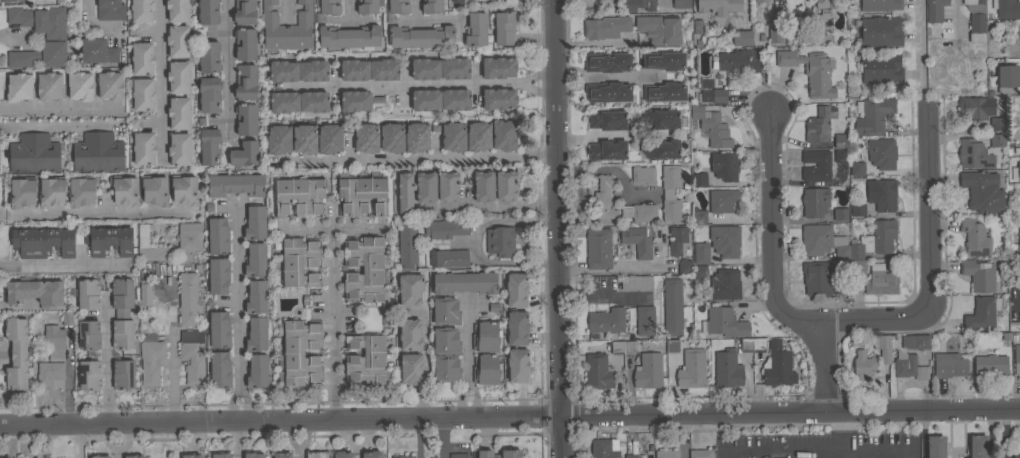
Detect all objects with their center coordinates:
building: (5, 0)
building: (457, 0)
building: (492, 0)
building: (761, 1)
building: (973, 1)
building: (510, 3)
building: (822, 3)
building: (680, 4)
building: (638, 5)
building: (880, 5)
building: (368, 6)
building: (432, 6)
building: (719, 6)
road: (415, 7)
road: (286, 8)
road: (346, 8)
building: (1007, 8)
building: (110, 9)
building: (327, 9)
building: (397, 9)
building: (141, 10)
building: (177, 10)
building: (935, 10)
building: (208, 11)
building: (244, 12)
road: (954, 15)
road: (92, 24)
building: (697, 26)
building: (504, 27)
building: (605, 27)
building: (287, 28)
building: (975, 28)
building: (476, 29)
building: (659, 29)
building: (880, 31)
building: (775, 34)
road: (15, 35)
building: (55, 36)
building: (421, 36)
building: (349, 37)
building: (742, 37)
building: (178, 40)
building: (245, 43)
road: (920, 44)
building: (97, 50)
building: (209, 57)
building: (142, 58)
building: (664, 60)
building: (738, 61)
building: (608, 62)
building: (498, 66)
road: (225, 67)
building: (880, 67)
building: (425, 68)
building: (454, 68)
building: (354, 69)
building: (384, 69)
building: (313, 70)
building: (283, 71)
building: (810, 71)
road: (160, 75)
road: (607, 76)
building: (179, 77)
building: (1019, 77)
building: (1006, 78)
building: (245, 82)
road: (420, 82)
building: (80, 85)
building: (110, 85)
building: (49, 86)
building: (19, 87)
building: (664, 91)
building: (608, 92)
building: (142, 93)
building: (209, 94)
building: (704, 95)
building: (719, 95)
building: (499, 98)
building: (425, 99)
building: (455, 99)
building: (358, 100)
building: (284, 101)
building: (313, 101)
building: (975, 107)
road: (59, 110)
building: (179, 112)
building: (872, 115)
building: (246, 119)
building: (607, 119)
building: (660, 119)
building: (132, 123)
building: (997, 123)
building: (818, 125)
building: (712, 126)
building: (478, 135)
building: (504, 135)
building: (453, 136)
building: (366, 137)
building: (392, 137)
building: (416, 137)
road: (590, 137)
building: (278, 138)
building: (304, 138)
building: (329, 138)
building: (840, 140)
building: (997, 140)
building: (209, 146)
building: (143, 148)
building: (661, 148)
building: (179, 149)
building: (607, 150)
building: (97, 152)
building: (34, 153)
building: (244, 153)
building: (882, 153)
building: (973, 154)
building: (840, 155)
road: (422, 159)
building: (724, 165)
building: (816, 165)
building: (857, 168)
road: (612, 171)
building: (1016, 171)
building: (642, 174)
building: (699, 178)
building: (406, 181)
building: (692, 181)
building: (235, 184)
building: (483, 185)
building: (505, 185)
building: (447, 186)
building: (124, 189)
building: (154, 189)
building: (184, 189)
building: (82, 190)
building: (22, 191)
building: (51, 191)
building: (982, 191)
building: (670, 193)
building: (361, 194)
building: (426, 194)
building: (882, 194)
building: (299, 195)
building: (397, 195)
building: (603, 199)
building: (722, 200)
building: (815, 201)
road: (496, 205)
building: (208, 208)
building: (857, 209)
building: (639, 212)
building: (840, 213)
road: (91, 214)
building: (699, 216)
building: (255, 222)
road: (336, 225)
road: (308, 226)
building: (446, 228)
road: (560, 228)
building: (190, 236)
building: (217, 236)
building: (974, 237)
building: (874, 239)
building: (109, 240)
road: (472, 240)
building: (677, 240)
building: (725, 240)
building: (1019, 240)
building: (42, 241)
building: (500, 241)
building: (637, 241)
road: (773, 241)
building: (823, 241)
building: (407, 244)
building: (151, 246)
building: (598, 248)
building: (700, 254)
building: (449, 257)
building: (255, 259)
building: (299, 262)
road: (65, 264)
building: (345, 264)
building: (685, 265)
building: (857, 266)
road: (932, 267)
building: (365, 268)
building: (699, 273)
building: (980, 274)
building: (218, 275)
building: (817, 278)
building: (881, 280)
building: (463, 282)
building: (636, 282)
building: (723, 285)
building: (843, 286)
building: (1019, 288)
building: (410, 289)
building: (516, 289)
building: (16, 290)
building: (145, 292)
building: (88, 293)
road: (603, 295)
building: (256, 297)
building: (187, 298)
building: (54, 299)
road: (1018, 301)
building: (304, 302)
building: (672, 306)
building: (492, 308)
building: (446, 311)
building: (982, 312)
building: (122, 313)
building: (1019, 317)
building: (67, 318)
road: (237, 318)
building: (645, 320)
building: (605, 321)
building: (724, 322)
building: (517, 327)
building: (219, 329)
building: (89, 334)
building: (256, 334)
building: (410, 334)
building: (54, 336)
building: (485, 336)
building: (446, 341)
road: (332, 342)
building: (914, 342)
building: (345, 345)
building: (751, 345)
building: (623, 346)
road: (170, 347)
building: (672, 347)
building: (881, 348)
building: (299, 352)
building: (17, 354)
building: (192, 355)
building: (151, 358)
building: (367, 359)
building: (1016, 359)
road: (106, 364)
building: (518, 365)
building: (949, 365)
building: (990, 365)
road: (467, 366)
building: (862, 366)
building: (446, 367)
building: (776, 367)
road: (425, 368)
building: (486, 368)
building: (726, 368)
building: (908, 368)
building: (220, 369)
building: (411, 369)
building: (257, 370)
building: (690, 370)
building: (598, 371)
building: (647, 371)
building: (50, 374)
building: (89, 374)
building: (123, 374)
road: (825, 374)
road: (510, 422)
road: (845, 426)
road: (441, 440)
road: (79, 441)
road: (116, 441)
road: (297, 441)
road: (845, 446)
building: (936, 446)
building: (978, 446)
building: (604, 448)
road: (778, 448)
building: (314, 454)
building: (343, 454)
building: (372, 454)
building: (475, 454)
building: (499, 454)
building: (665, 454)
building: (699, 454)
building: (213, 455)
building: (244, 455)
building: (281, 455)
building: (459, 455)
building: (1016, 455)
building: (101, 456)
building: (134, 456)
building: (192, 456)
building: (404, 456)
building: (631, 456)
building: (18, 457)

